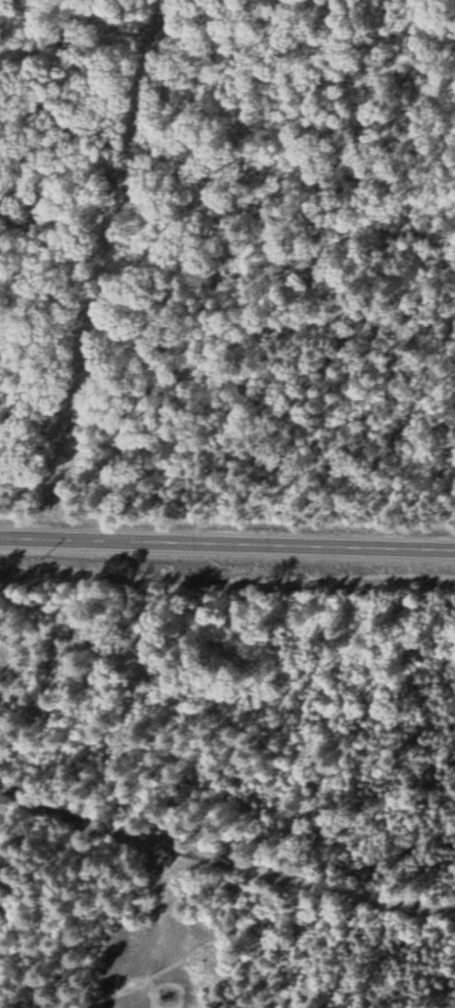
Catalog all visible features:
road: (227, 548)
road: (227, 582)
road: (220, 854)
road: (254, 911)
petroleum well: (172, 994)

